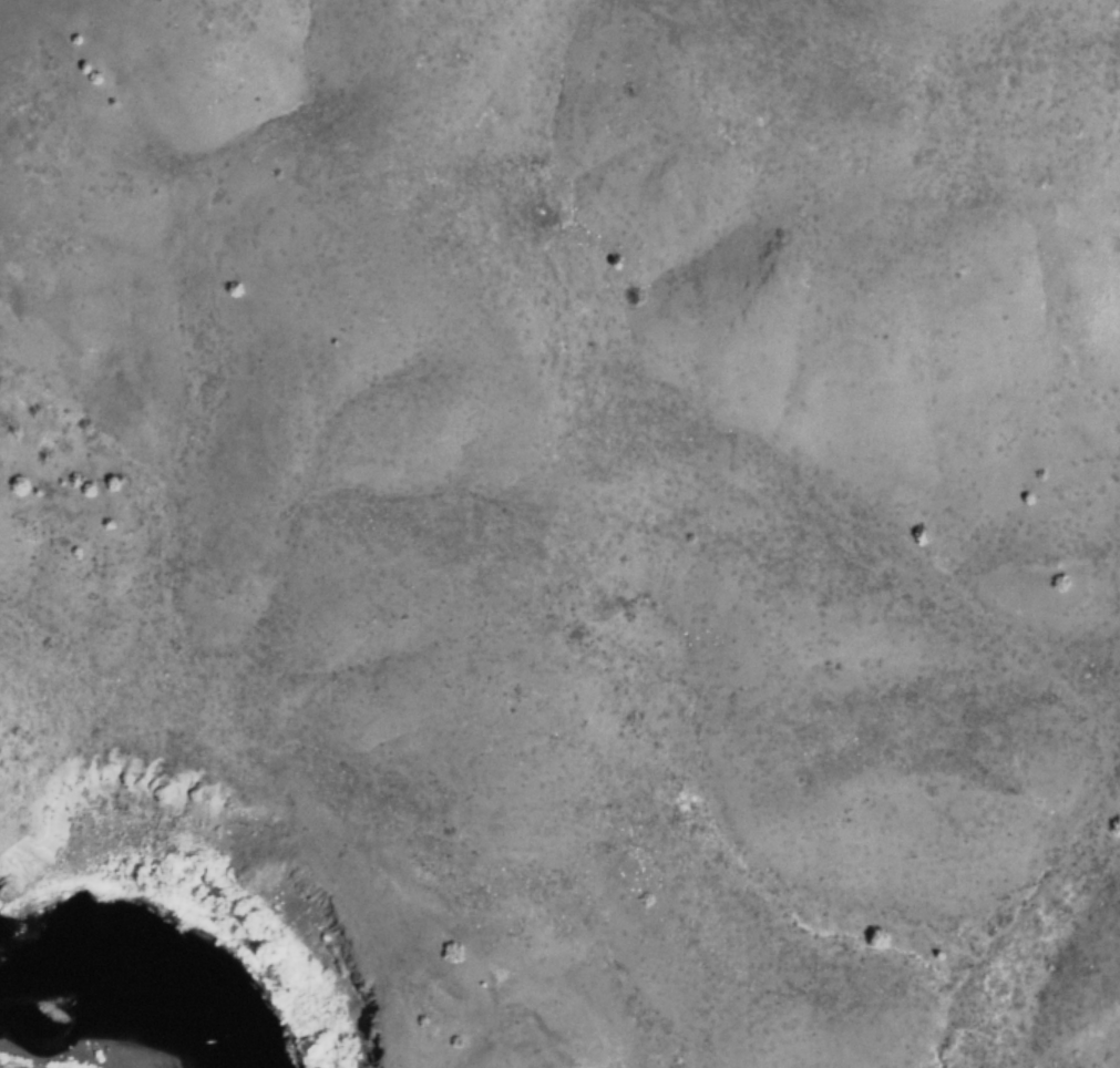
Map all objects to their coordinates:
river: (152, 948)

